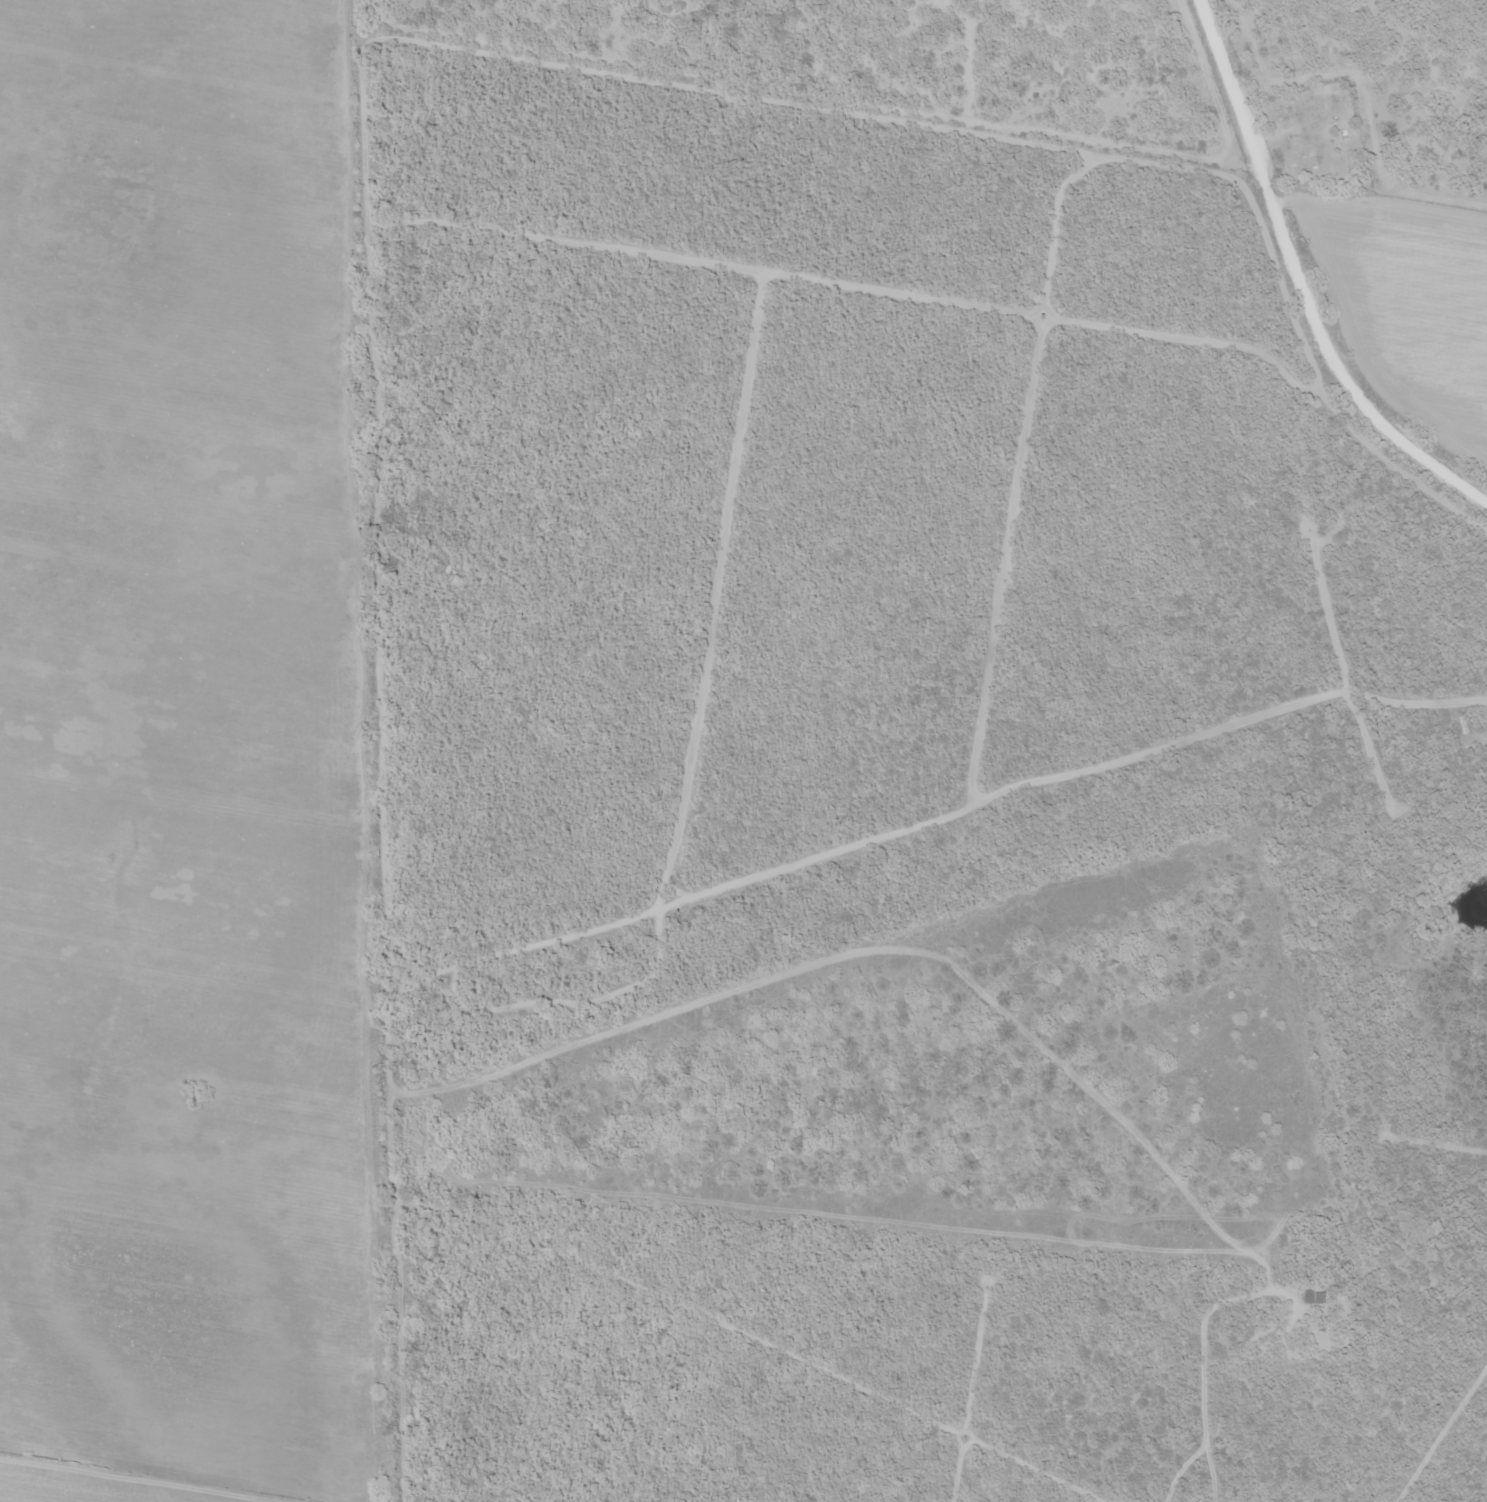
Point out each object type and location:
road: (1273, 212)
road: (1441, 479)
road: (97, 620)
road: (1277, 736)
building: (1311, 1296)

